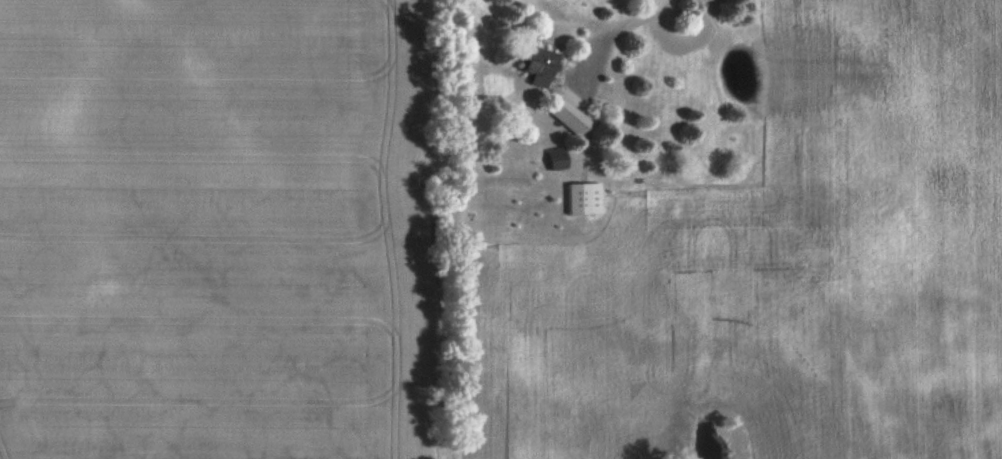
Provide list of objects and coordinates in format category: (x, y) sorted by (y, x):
building: (533, 65)
building: (564, 115)
building: (553, 159)
building: (575, 198)

